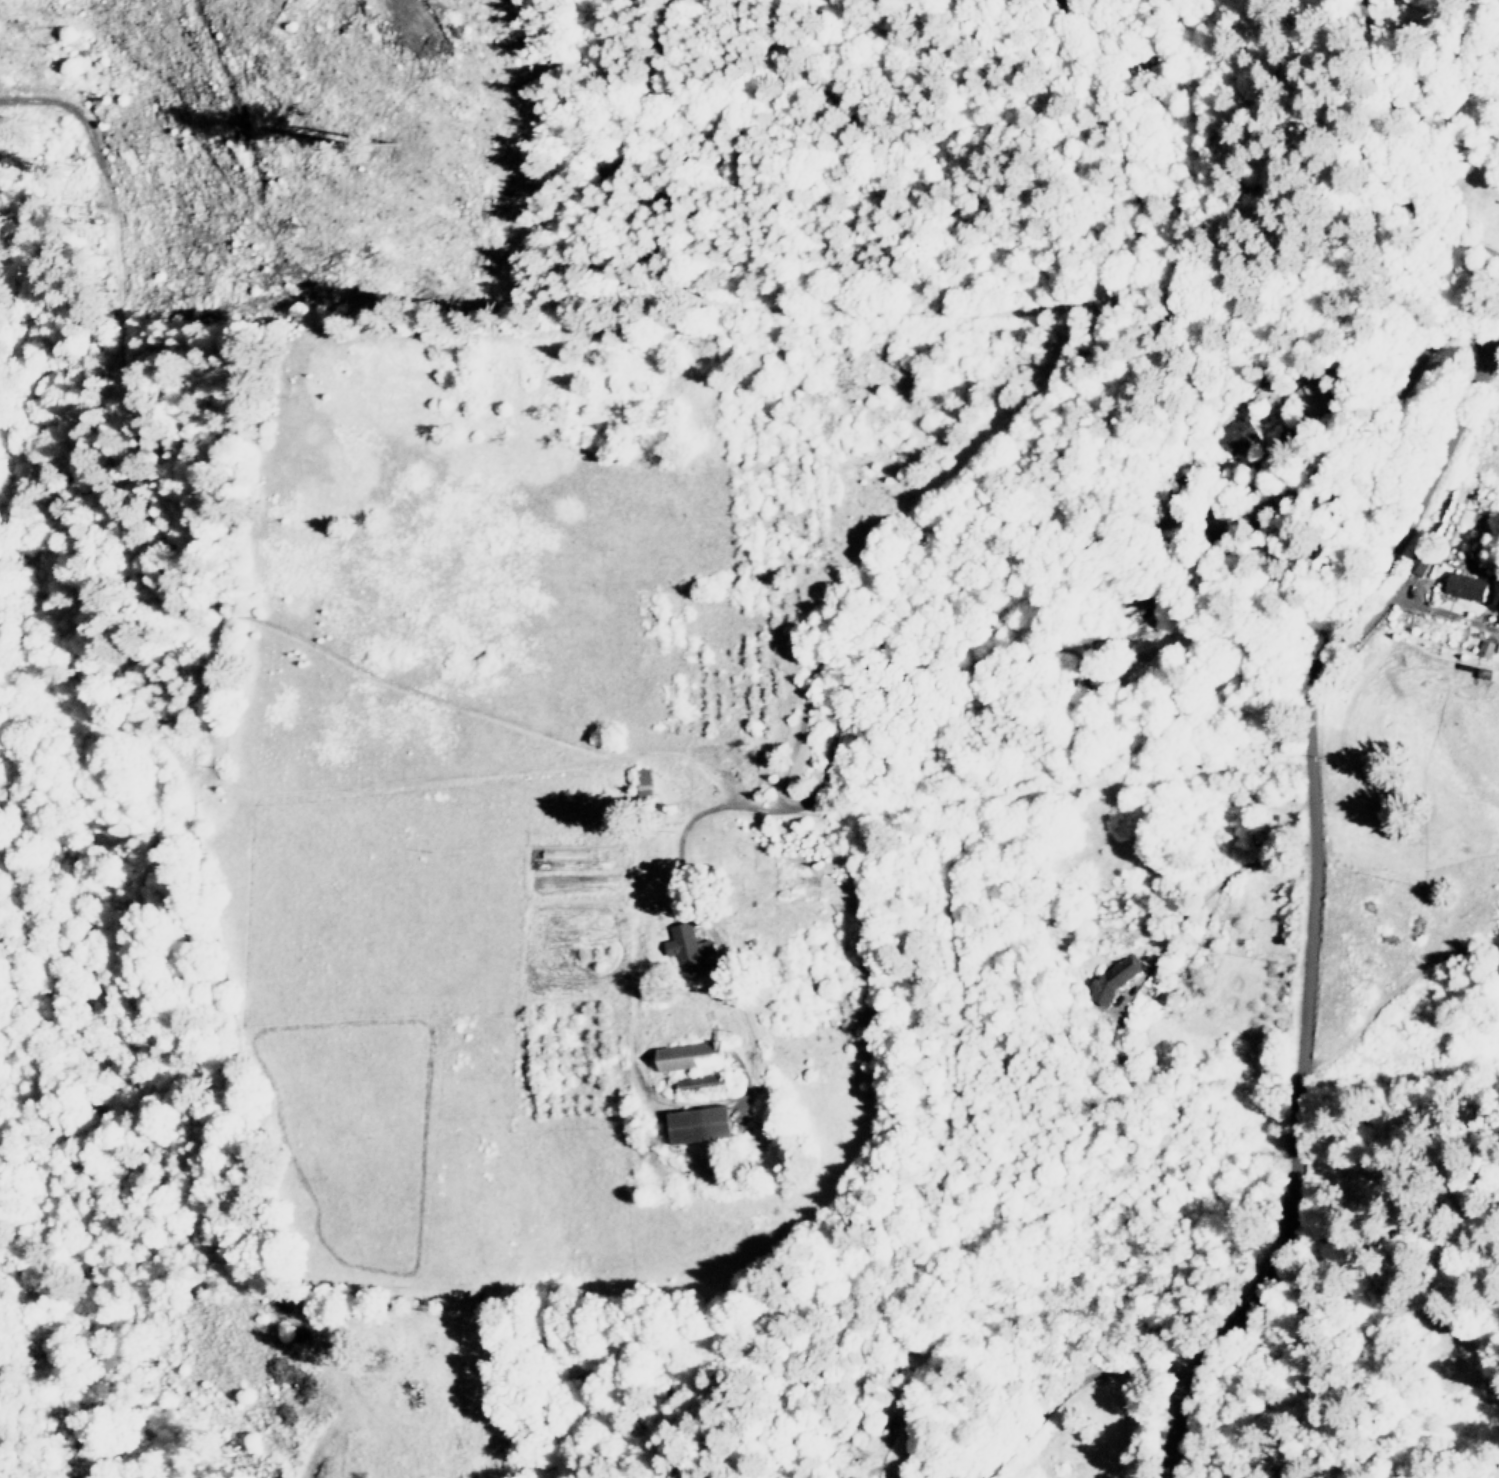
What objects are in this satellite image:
road: (1414, 137)
building: (1316, 397)
building: (1237, 434)
road: (1019, 435)
building: (1467, 584)
building: (1487, 647)
road: (961, 648)
building: (648, 779)
road: (1218, 883)
road: (1311, 905)
building: (692, 949)
building: (1116, 976)
building: (692, 1055)
road: (1093, 1392)

